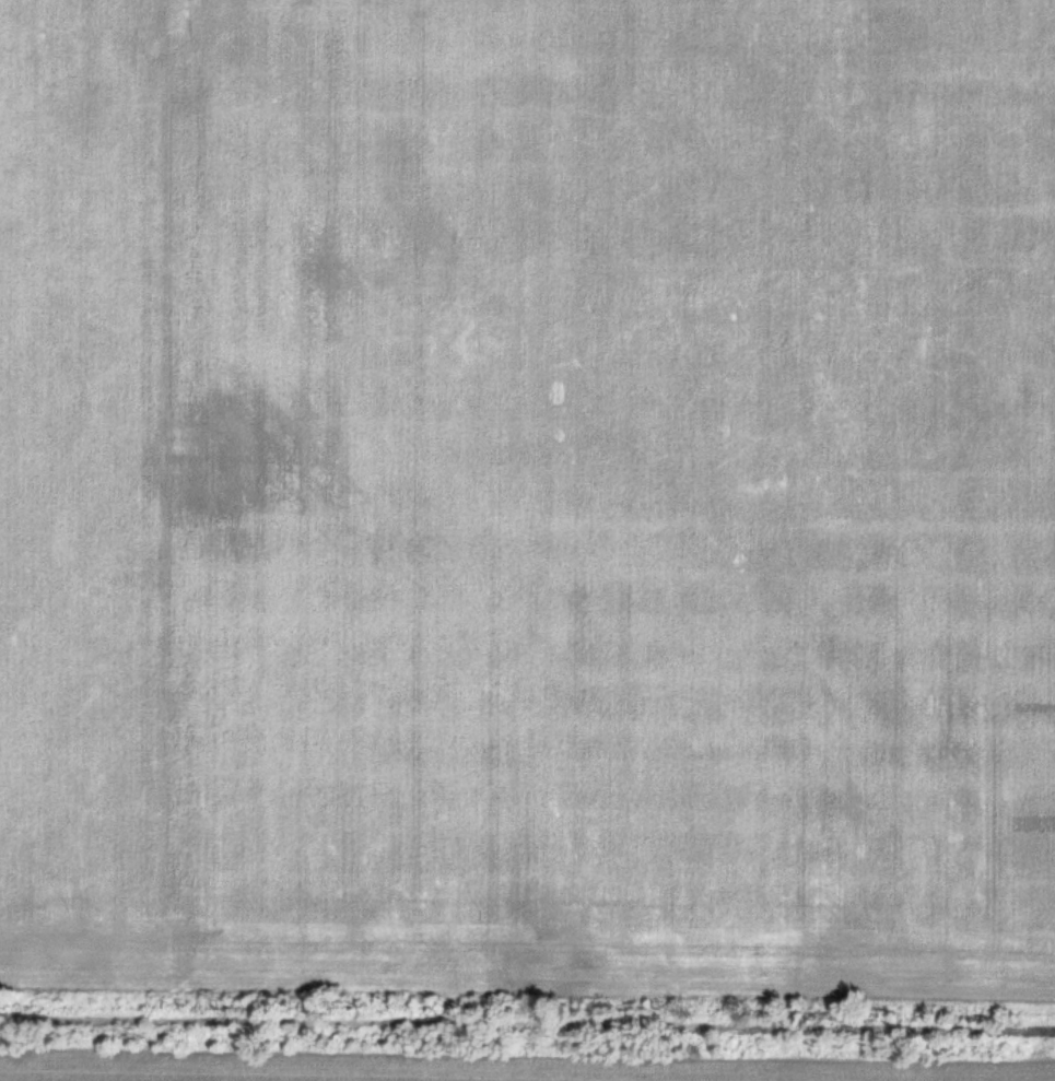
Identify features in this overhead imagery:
railway: (527, 1024)

